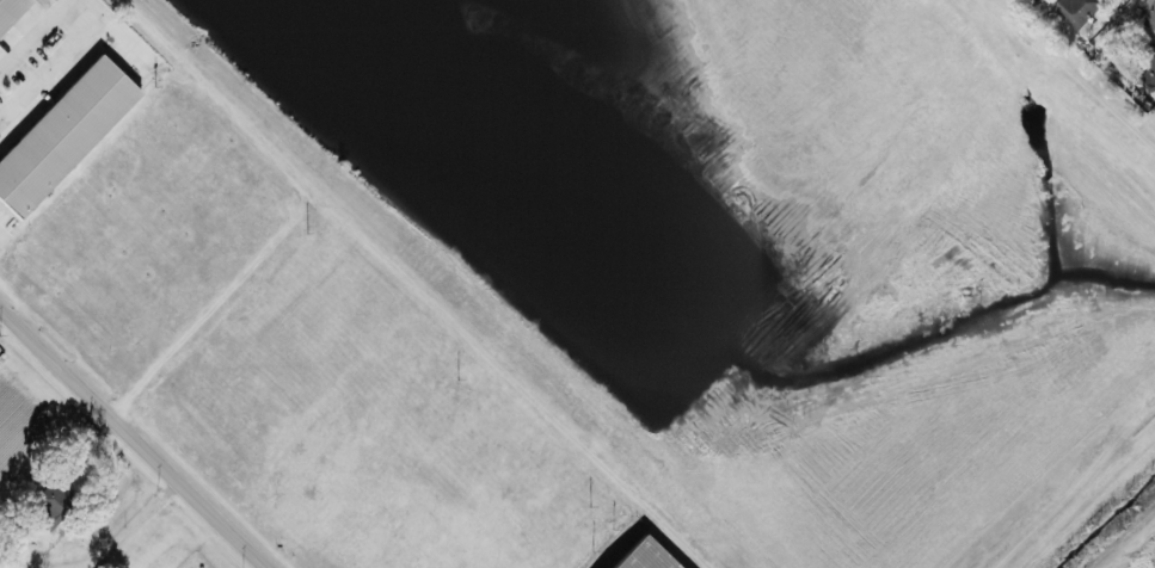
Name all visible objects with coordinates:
building: (10, 10)
building: (1075, 11)
building: (1150, 14)
road: (81, 33)
building: (1148, 72)
building: (1151, 112)
building: (62, 131)
road: (131, 438)
building: (55, 505)
road: (136, 525)
building: (641, 555)

